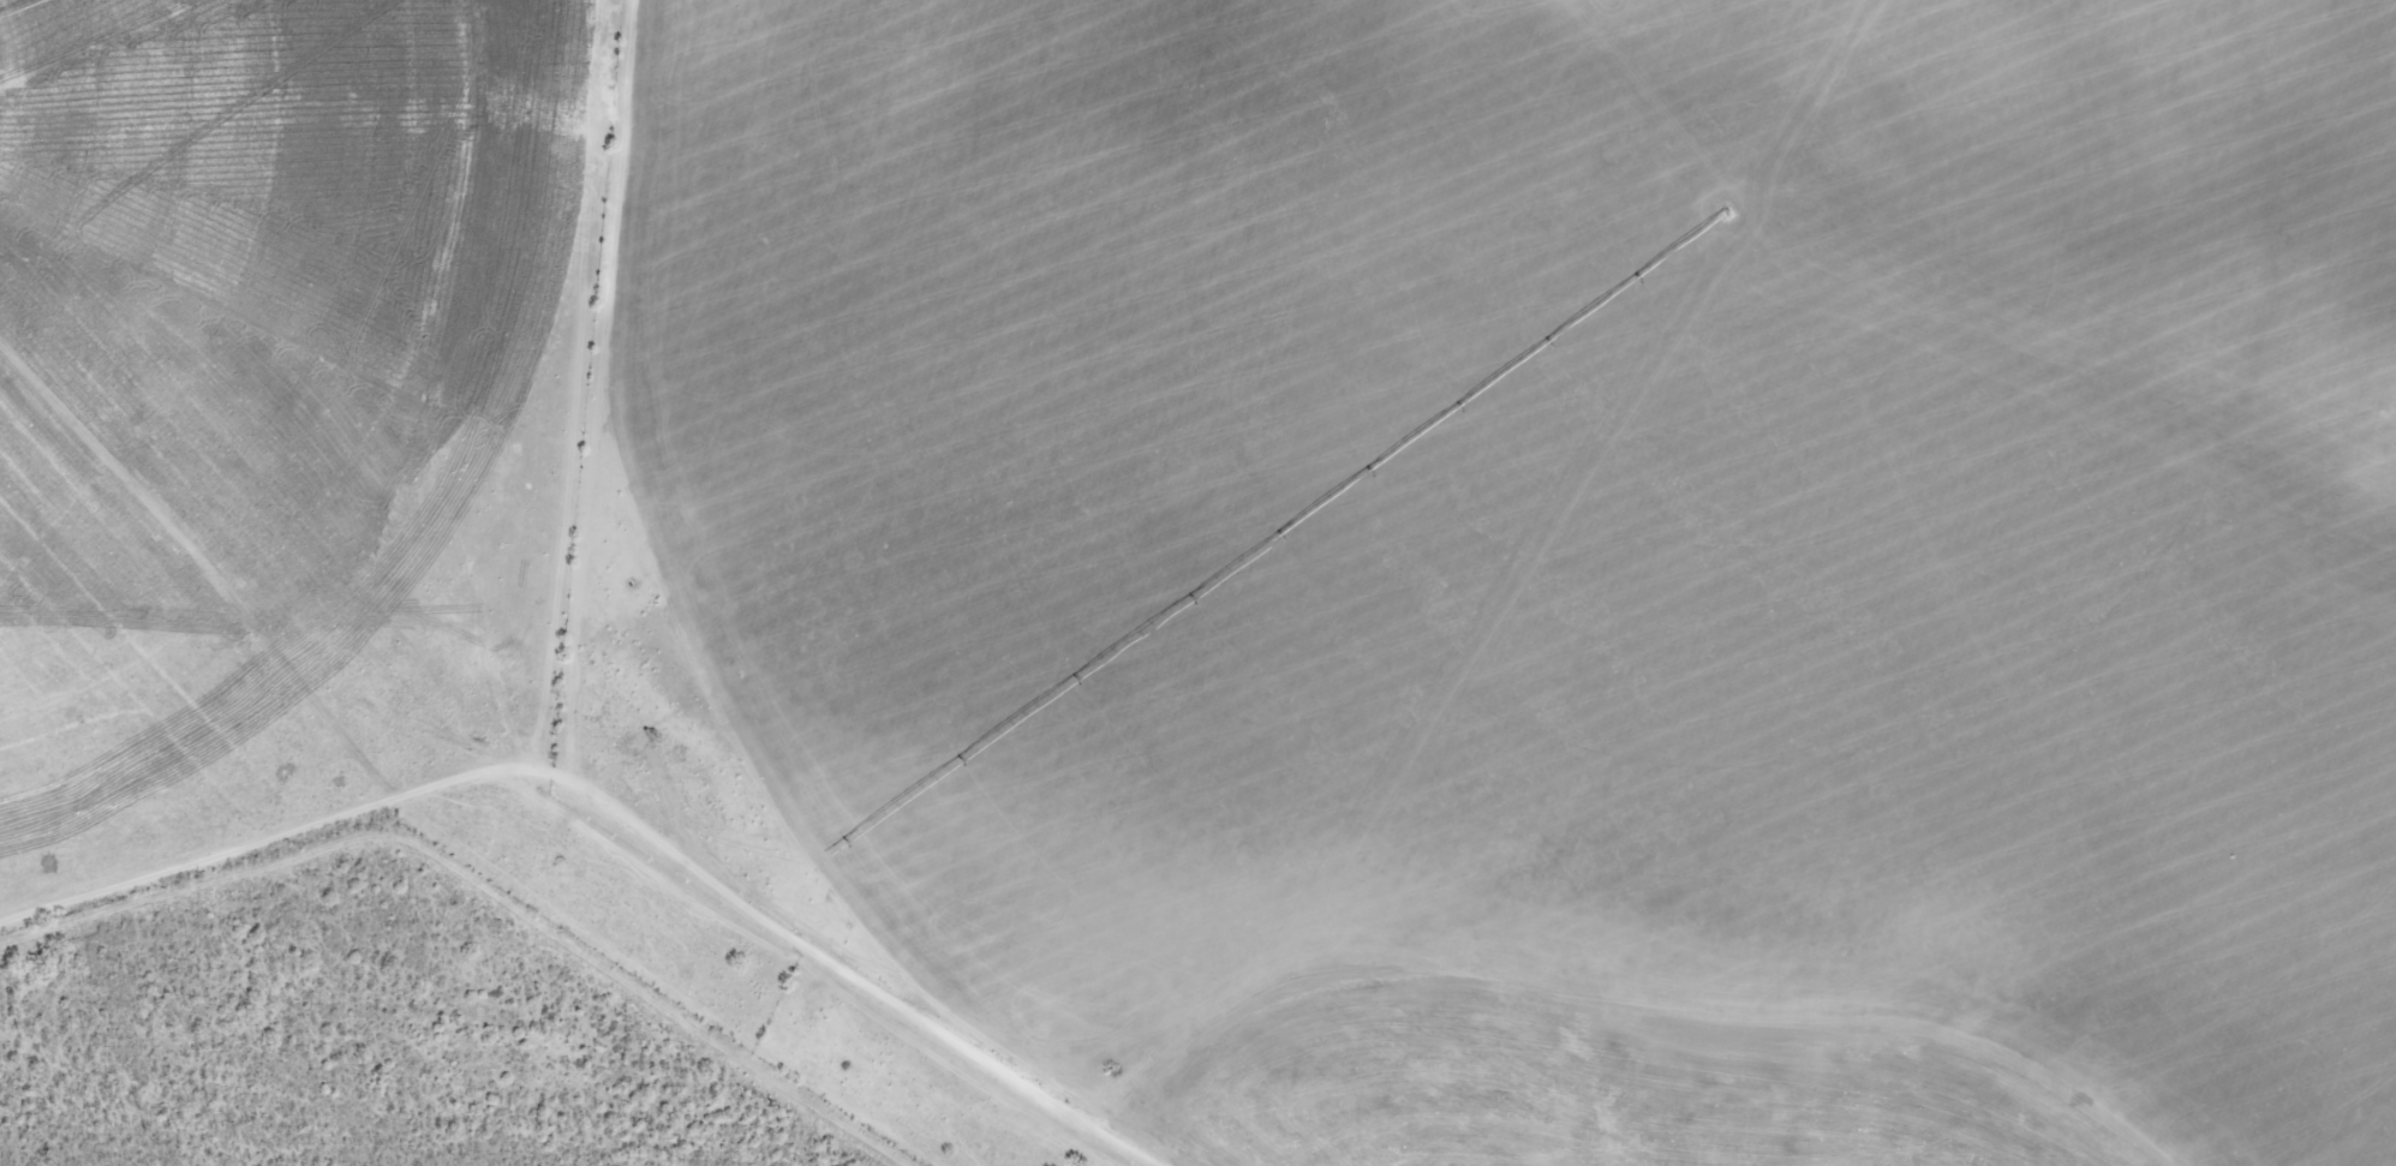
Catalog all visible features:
road: (555, 783)

